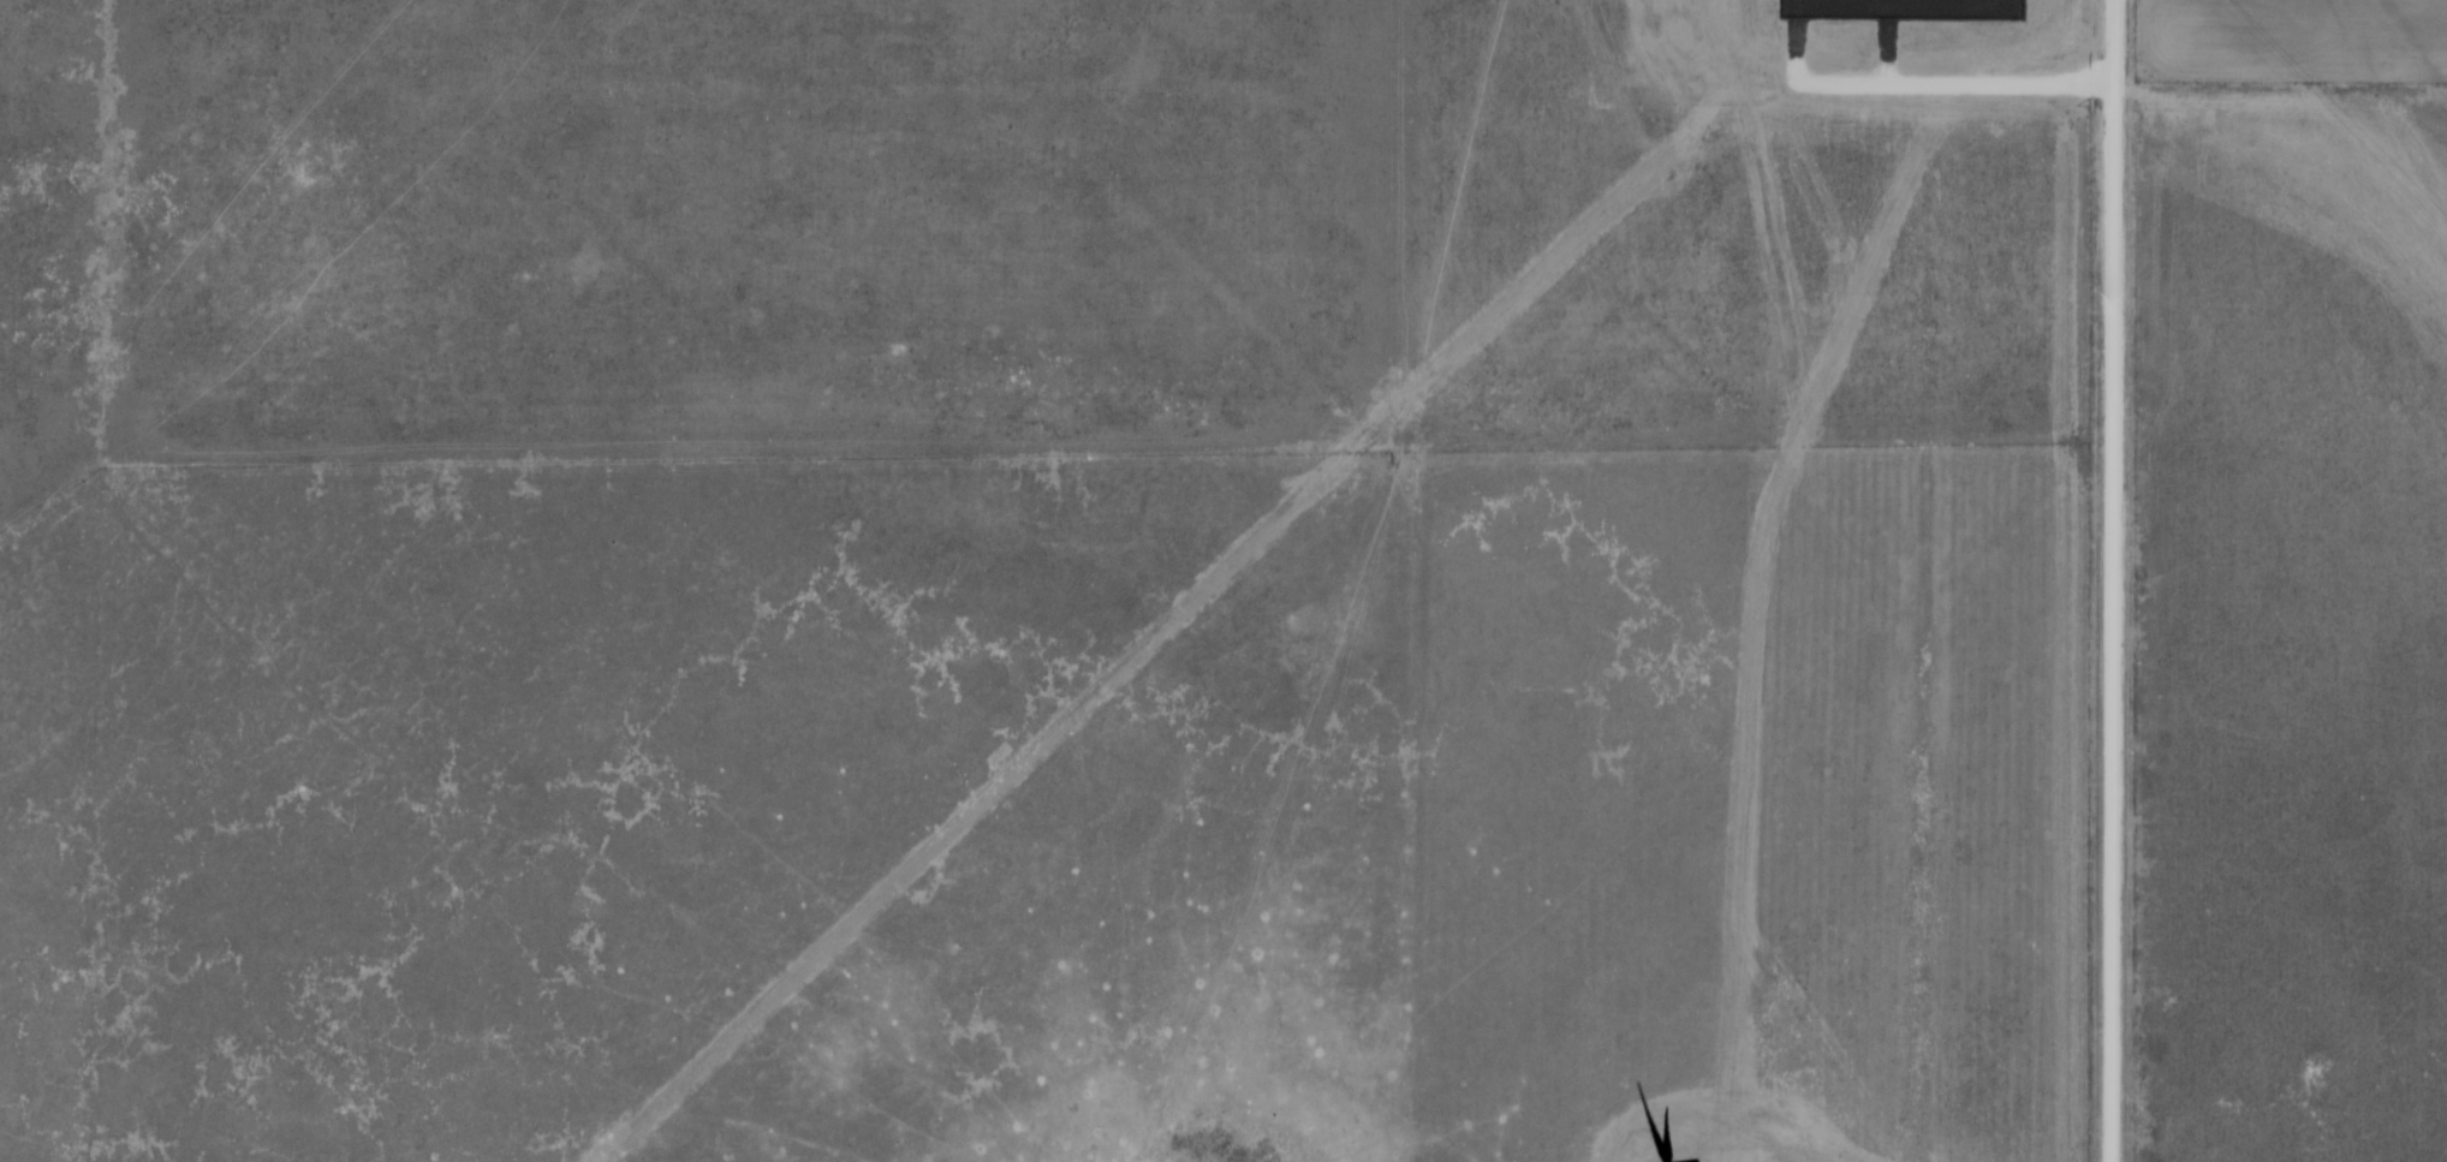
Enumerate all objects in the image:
power substation: (1901, 10)
road: (1889, 54)
road: (1921, 87)
road: (2114, 580)

